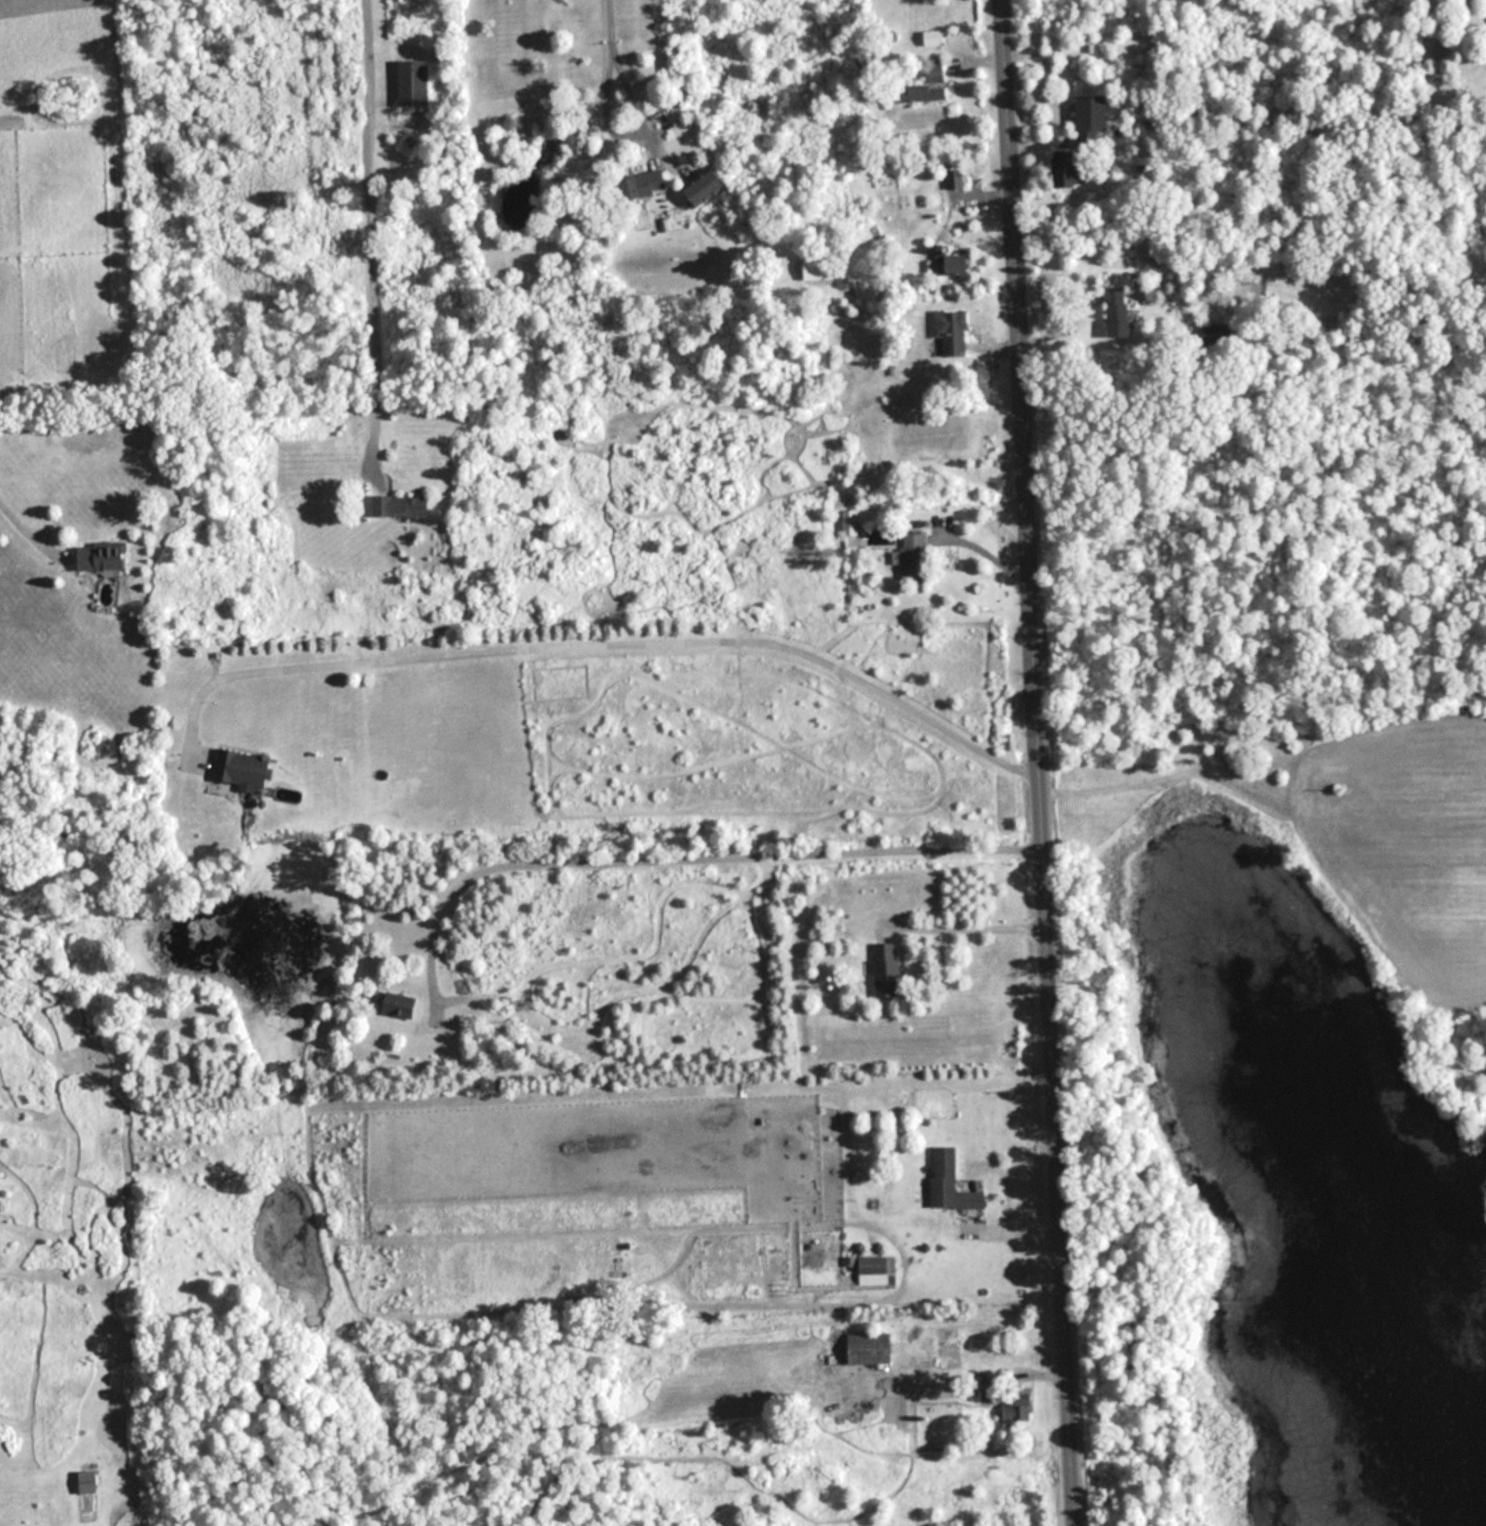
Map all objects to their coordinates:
road: (616, 55)
building: (413, 84)
building: (927, 87)
building: (1092, 115)
building: (1069, 170)
building: (644, 185)
building: (704, 188)
road: (369, 230)
building: (961, 266)
building: (819, 269)
building: (1117, 312)
building: (952, 331)
building: (402, 508)
road: (30, 522)
building: (850, 523)
building: (104, 557)
building: (914, 558)
road: (599, 641)
road: (1043, 763)
building: (245, 767)
road: (684, 853)
building: (887, 969)
building: (395, 1003)
building: (951, 1181)
building: (875, 1269)
building: (871, 1348)
building: (991, 1398)
building: (88, 1482)

